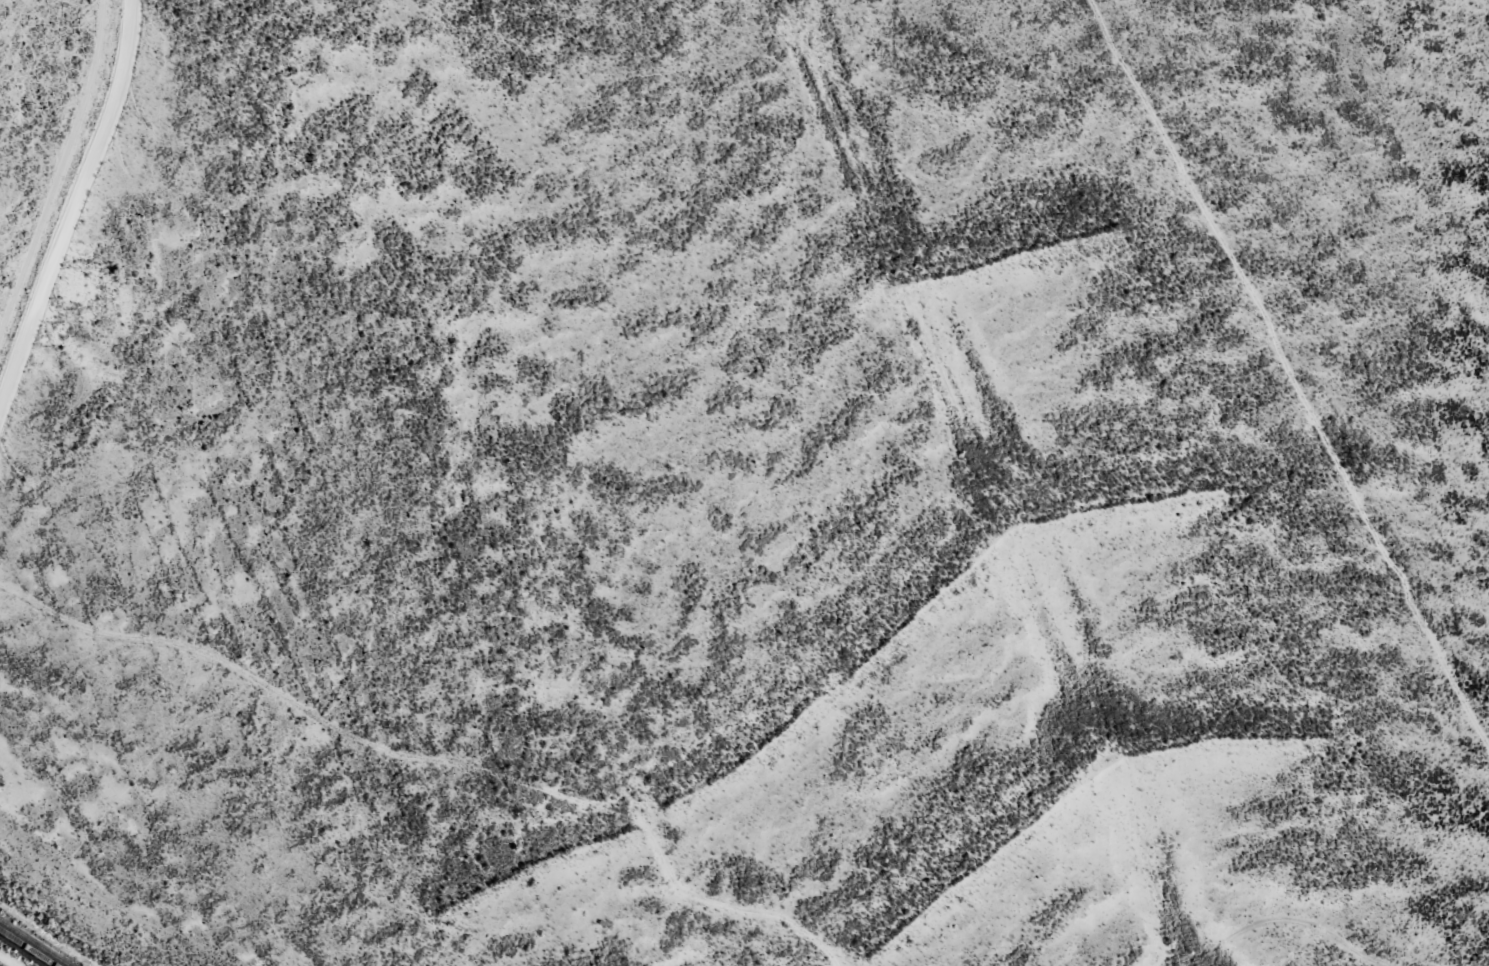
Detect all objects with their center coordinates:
road: (75, 210)
railway: (34, 943)
railway: (27, 948)

